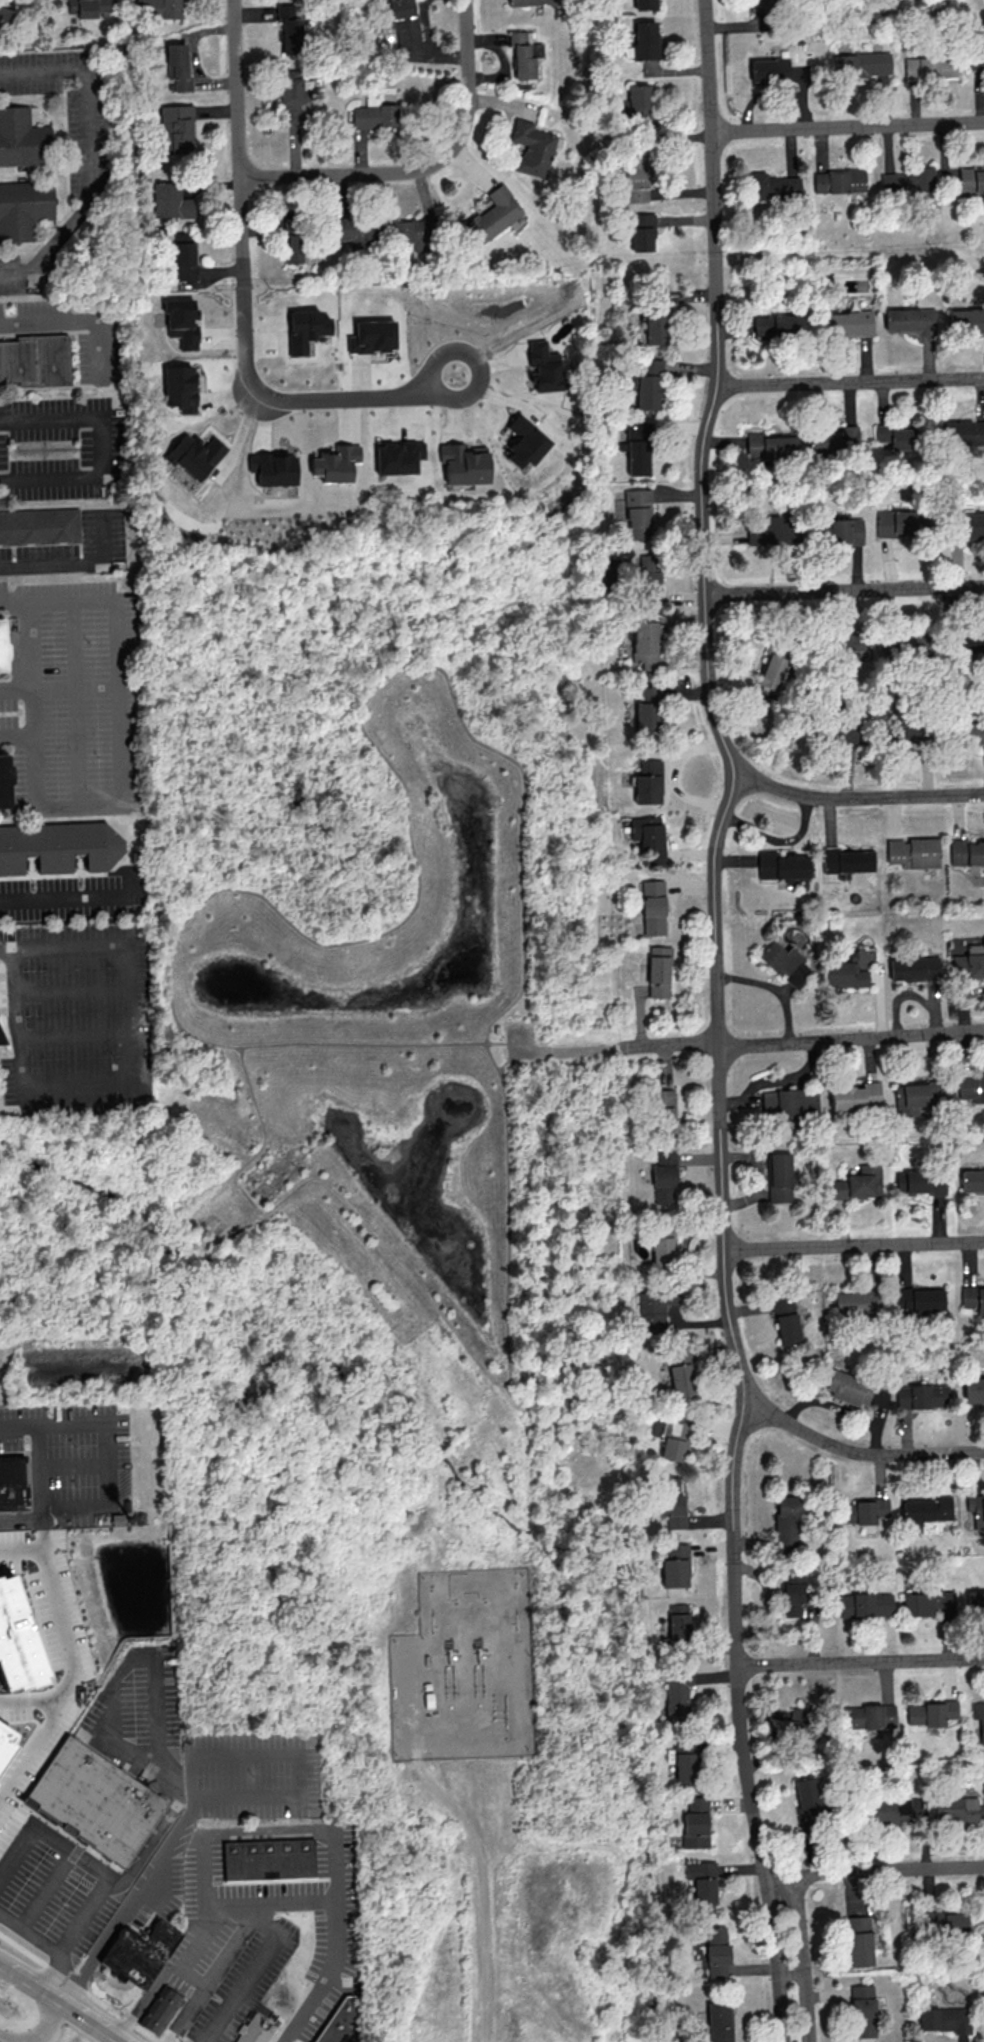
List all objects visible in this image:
building: (529, 2)
building: (644, 4)
building: (89, 8)
building: (158, 8)
building: (757, 12)
building: (4, 18)
building: (404, 21)
building: (289, 29)
building: (643, 40)
building: (522, 54)
building: (976, 58)
building: (862, 64)
building: (178, 66)
building: (929, 67)
building: (773, 71)
building: (290, 95)
building: (638, 104)
building: (374, 114)
road: (848, 127)
building: (175, 128)
building: (22, 138)
road: (87, 148)
building: (532, 148)
road: (427, 167)
building: (637, 176)
building: (838, 180)
building: (908, 180)
building: (971, 180)
building: (772, 186)
building: (171, 200)
building: (23, 207)
building: (493, 215)
building: (355, 230)
building: (642, 232)
building: (413, 233)
building: (294, 247)
building: (184, 256)
road: (221, 273)
road: (9, 275)
road: (244, 299)
building: (911, 320)
building: (182, 321)
building: (966, 321)
building: (848, 323)
road: (51, 324)
building: (654, 325)
building: (777, 325)
building: (306, 329)
building: (372, 336)
road: (103, 351)
building: (35, 359)
building: (543, 366)
building: (643, 382)
road: (850, 382)
building: (180, 387)
road: (78, 419)
building: (961, 432)
building: (898, 437)
building: (834, 438)
building: (524, 441)
building: (771, 445)
parking lot: (60, 446)
building: (637, 446)
building: (195, 454)
building: (399, 456)
building: (337, 463)
building: (464, 463)
building: (274, 468)
road: (48, 482)
building: (637, 511)
road: (703, 522)
building: (972, 524)
building: (40, 525)
building: (901, 526)
building: (820, 527)
building: (772, 529)
building: (846, 530)
road: (101, 537)
road: (51, 565)
building: (648, 581)
road: (845, 591)
building: (645, 640)
building: (971, 642)
building: (848, 646)
building: (3, 647)
road: (29, 668)
building: (771, 674)
road: (59, 687)
road: (75, 703)
building: (647, 709)
road: (119, 723)
road: (16, 734)
building: (971, 735)
building: (5, 782)
building: (648, 782)
road: (858, 796)
building: (649, 838)
road: (779, 840)
building: (58, 846)
building: (912, 852)
building: (966, 852)
building: (845, 860)
building: (781, 866)
road: (69, 896)
road: (523, 905)
building: (653, 907)
road: (8, 952)
building: (969, 962)
building: (786, 963)
building: (914, 968)
building: (849, 970)
building: (658, 971)
road: (149, 977)
road: (775, 987)
road: (72, 991)
parking lot: (78, 1020)
road: (491, 1028)
building: (497, 1029)
road: (75, 1036)
road: (851, 1039)
parking lot: (520, 1040)
building: (2, 1041)
road: (502, 1042)
road: (362, 1043)
road: (669, 1043)
road: (719, 1043)
road: (165, 1046)
road: (554, 1051)
road: (508, 1061)
road: (131, 1083)
building: (971, 1086)
building: (856, 1095)
building: (664, 1106)
building: (780, 1177)
building: (665, 1178)
building: (972, 1180)
building: (900, 1181)
building: (925, 1181)
building: (859, 1183)
road: (854, 1245)
building: (663, 1247)
building: (973, 1297)
building: (920, 1299)
building: (855, 1304)
building: (655, 1310)
building: (785, 1318)
road: (714, 1348)
building: (682, 1373)
building: (849, 1387)
building: (974, 1389)
building: (922, 1396)
road: (528, 1403)
road: (20, 1426)
road: (717, 1428)
building: (677, 1437)
road: (859, 1452)
parking lot: (78, 1456)
road: (76, 1463)
road: (112, 1464)
road: (733, 1473)
building: (14, 1484)
road: (42, 1493)
building: (976, 1506)
building: (673, 1509)
building: (861, 1510)
building: (926, 1511)
building: (787, 1523)
building: (675, 1565)
building: (793, 1593)
building: (975, 1601)
building: (929, 1603)
building: (866, 1604)
building: (678, 1626)
building: (18, 1638)
road: (861, 1661)
road: (73, 1664)
road: (128, 1664)
building: (677, 1693)
road: (33, 1695)
building: (932, 1712)
building: (869, 1716)
building: (979, 1716)
building: (801, 1722)
building: (6, 1739)
road: (301, 1752)
building: (687, 1763)
building: (98, 1799)
building: (807, 1802)
building: (956, 1808)
building: (887, 1811)
building: (695, 1824)
road: (302, 1829)
road: (52, 1836)
building: (272, 1859)
road: (883, 1868)
road: (122, 1881)
building: (702, 1885)
road: (47, 1888)
road: (482, 1890)
road: (288, 1900)
road: (227, 1902)
road: (133, 1903)
road: (265, 1923)
building: (943, 1923)
road: (31, 1932)
building: (859, 1941)
road: (185, 1950)
building: (142, 1951)
building: (717, 1951)
road: (776, 1959)
road: (803, 1959)
road: (6, 1967)
road: (193, 1973)
road: (31, 1982)
road: (79, 1988)
road: (242, 1990)
building: (162, 2010)
building: (863, 2010)
road: (83, 2018)
building: (944, 2018)
building: (720, 2019)
road: (55, 2020)
building: (342, 2023)
building: (258, 2030)

